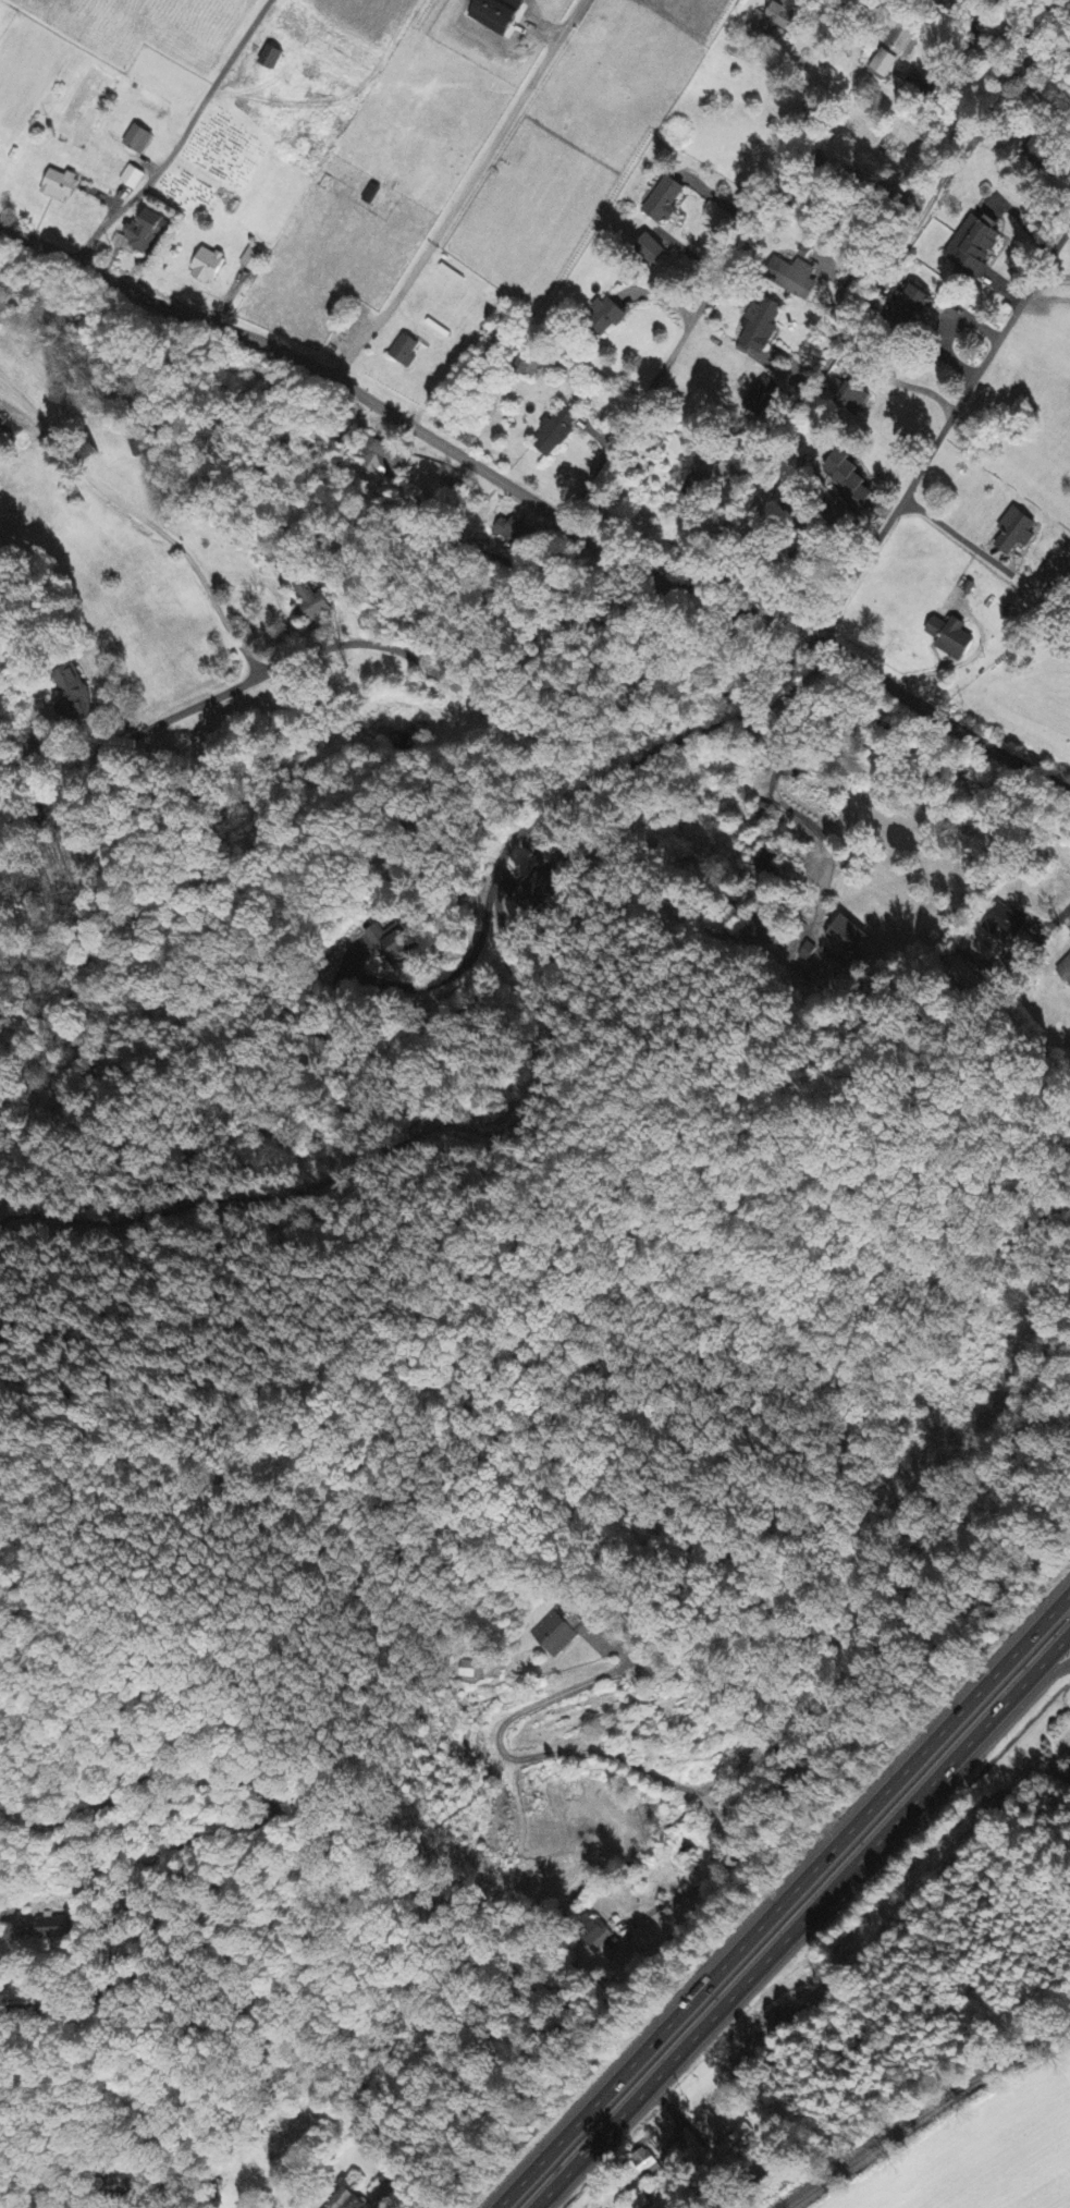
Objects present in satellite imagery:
building: (778, 17)
building: (900, 38)
building: (272, 59)
building: (884, 65)
road: (185, 135)
building: (139, 139)
building: (133, 179)
building: (61, 186)
road: (464, 193)
building: (665, 202)
building: (145, 232)
building: (974, 246)
road: (20, 255)
building: (253, 260)
building: (208, 267)
building: (795, 279)
road: (709, 295)
building: (912, 310)
building: (605, 316)
building: (761, 327)
building: (405, 352)
road: (822, 367)
building: (763, 397)
building: (857, 399)
road: (939, 428)
building: (557, 432)
building: (700, 487)
road: (534, 499)
road: (949, 528)
building: (1017, 530)
road: (135, 549)
building: (311, 606)
building: (952, 636)
road: (401, 650)
road: (775, 779)
road: (581, 790)
road: (1057, 919)
building: (847, 938)
building: (1065, 971)
road: (441, 978)
road: (343, 1174)
building: (558, 1639)
road: (1025, 1694)
road: (608, 1756)
road: (243, 1821)
road: (685, 1892)
road: (783, 1900)
road: (7, 1913)
road: (801, 1920)
building: (58, 1928)
railway: (915, 2109)
building: (733, 2140)
building: (349, 2200)

